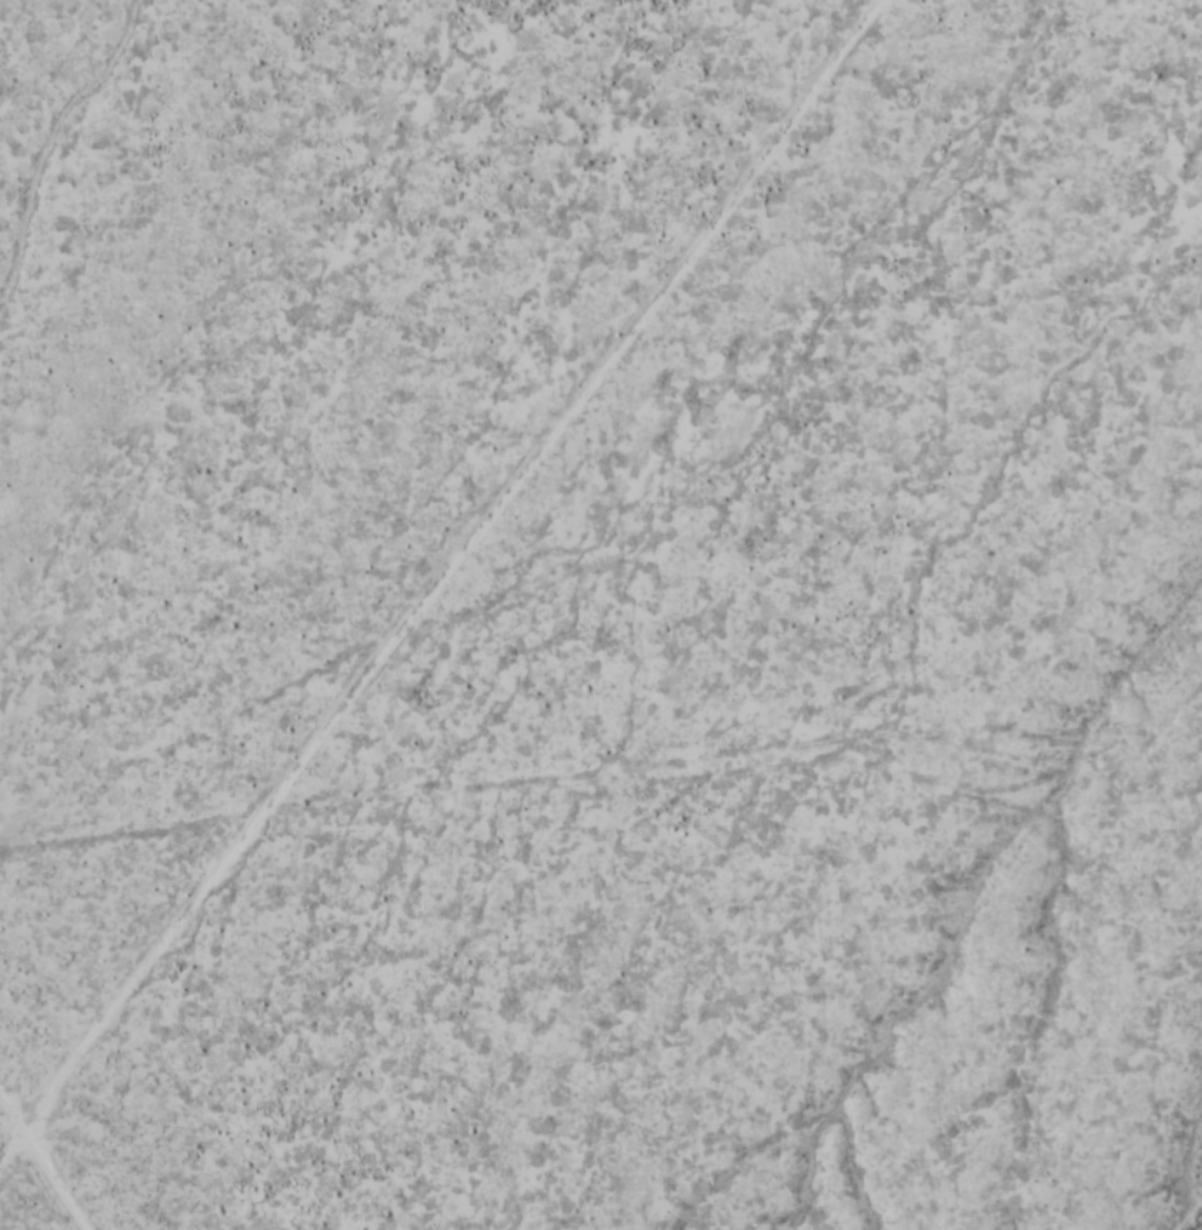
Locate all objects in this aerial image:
road: (23, 1194)

